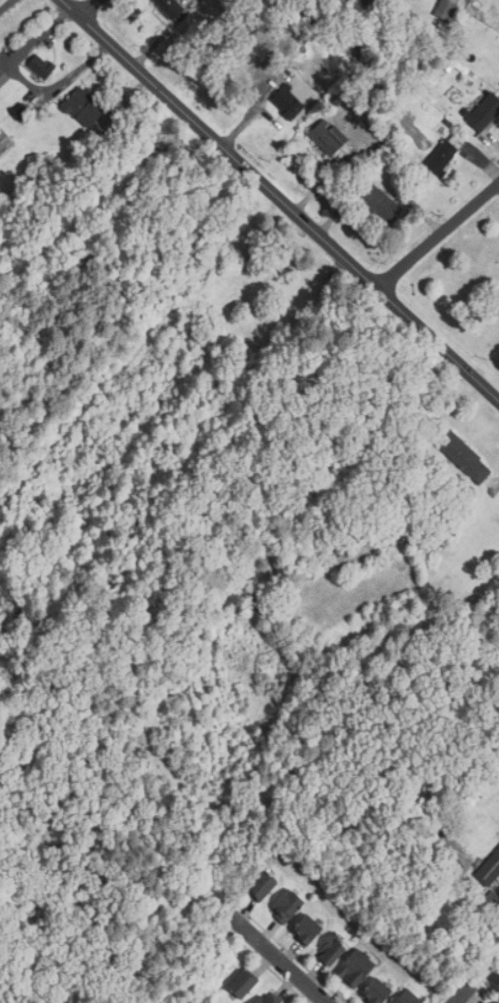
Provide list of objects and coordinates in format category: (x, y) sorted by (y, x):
road: (6, 5)
building: (173, 7)
road: (88, 8)
building: (444, 10)
building: (42, 66)
building: (3, 77)
road: (25, 81)
building: (288, 101)
building: (85, 107)
building: (23, 111)
building: (485, 112)
building: (327, 136)
building: (446, 153)
road: (280, 199)
building: (381, 201)
road: (437, 234)
building: (462, 453)
building: (366, 545)
building: (255, 600)
building: (489, 869)
building: (263, 884)
building: (287, 905)
building: (308, 929)
building: (331, 949)
road: (277, 957)
building: (356, 968)
building: (244, 983)
building: (378, 991)
road: (460, 993)
building: (268, 998)
building: (408, 998)
building: (498, 1002)

